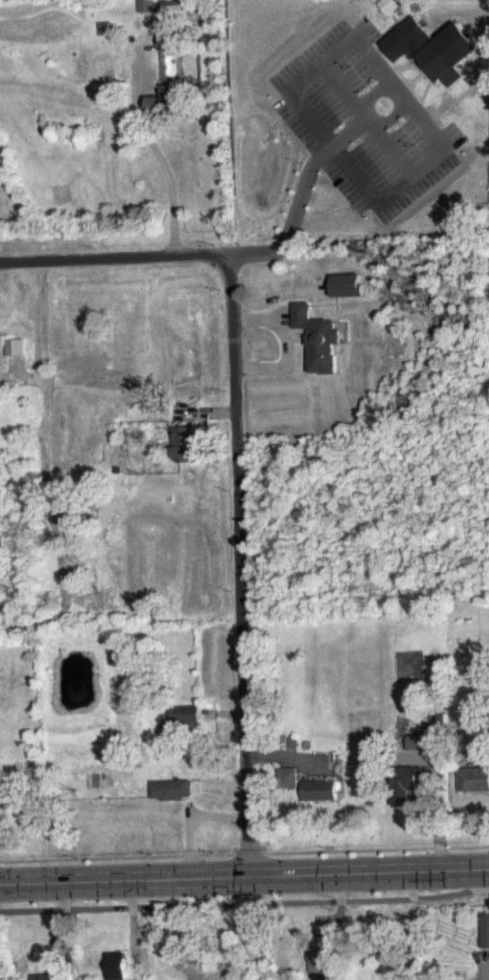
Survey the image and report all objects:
building: (147, 13)
building: (172, 15)
building: (388, 15)
building: (104, 38)
building: (169, 52)
road: (338, 59)
building: (421, 61)
building: (165, 111)
road: (371, 117)
road: (159, 170)
road: (427, 171)
road: (299, 206)
road: (109, 263)
building: (347, 296)
road: (38, 328)
building: (319, 350)
building: (15, 357)
building: (184, 454)
road: (47, 517)
road: (234, 567)
building: (184, 726)
building: (415, 753)
building: (287, 789)
building: (474, 789)
building: (414, 790)
building: (170, 800)
building: (319, 801)
road: (244, 876)
road: (244, 904)
building: (485, 942)
building: (321, 970)
building: (114, 971)
building: (387, 971)
road: (487, 972)

